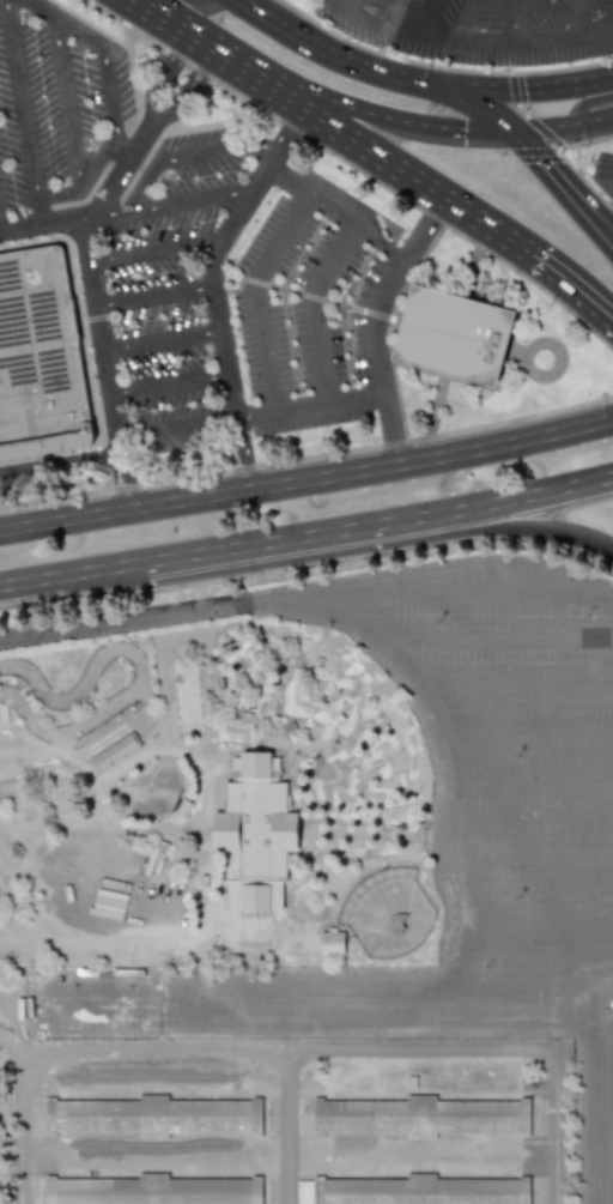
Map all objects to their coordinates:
road: (198, 2)
road: (352, 6)
road: (387, 12)
road: (460, 19)
road: (517, 20)
road: (566, 20)
road: (170, 23)
parking lot: (480, 28)
road: (471, 41)
road: (330, 53)
road: (104, 61)
road: (164, 77)
traffic signals: (432, 86)
road: (184, 90)
road: (522, 90)
road: (66, 99)
road: (336, 101)
road: (479, 104)
road: (581, 108)
road: (24, 113)
road: (527, 115)
road: (568, 128)
road: (496, 131)
traffic signals: (522, 132)
road: (534, 146)
road: (532, 152)
road: (190, 156)
road: (566, 159)
road: (354, 168)
road: (86, 174)
road: (413, 177)
road: (579, 194)
road: (170, 205)
road: (93, 206)
road: (577, 206)
road: (335, 213)
road: (152, 250)
road: (211, 286)
parking lot: (169, 291)
road: (255, 296)
road: (153, 297)
road: (318, 298)
road: (316, 308)
parking lot: (305, 315)
road: (376, 322)
road: (394, 328)
road: (81, 334)
building: (455, 335)
road: (160, 340)
building: (40, 357)
road: (105, 364)
road: (169, 385)
road: (310, 405)
road: (176, 424)
road: (505, 444)
road: (306, 458)
road: (60, 462)
road: (199, 498)
road: (376, 525)
road: (376, 547)
road: (69, 575)
road: (459, 587)
road: (347, 616)
road: (490, 639)
road: (510, 686)
road: (527, 731)
road: (532, 781)
road: (532, 827)
building: (254, 834)
road: (533, 871)
theme park: (311, 895)
road: (605, 927)
road: (536, 930)
building: (330, 943)
road: (606, 952)
road: (606, 979)
road: (381, 1016)
road: (290, 1049)
road: (600, 1113)
road: (284, 1126)
building: (131, 1190)
building: (326, 1191)

